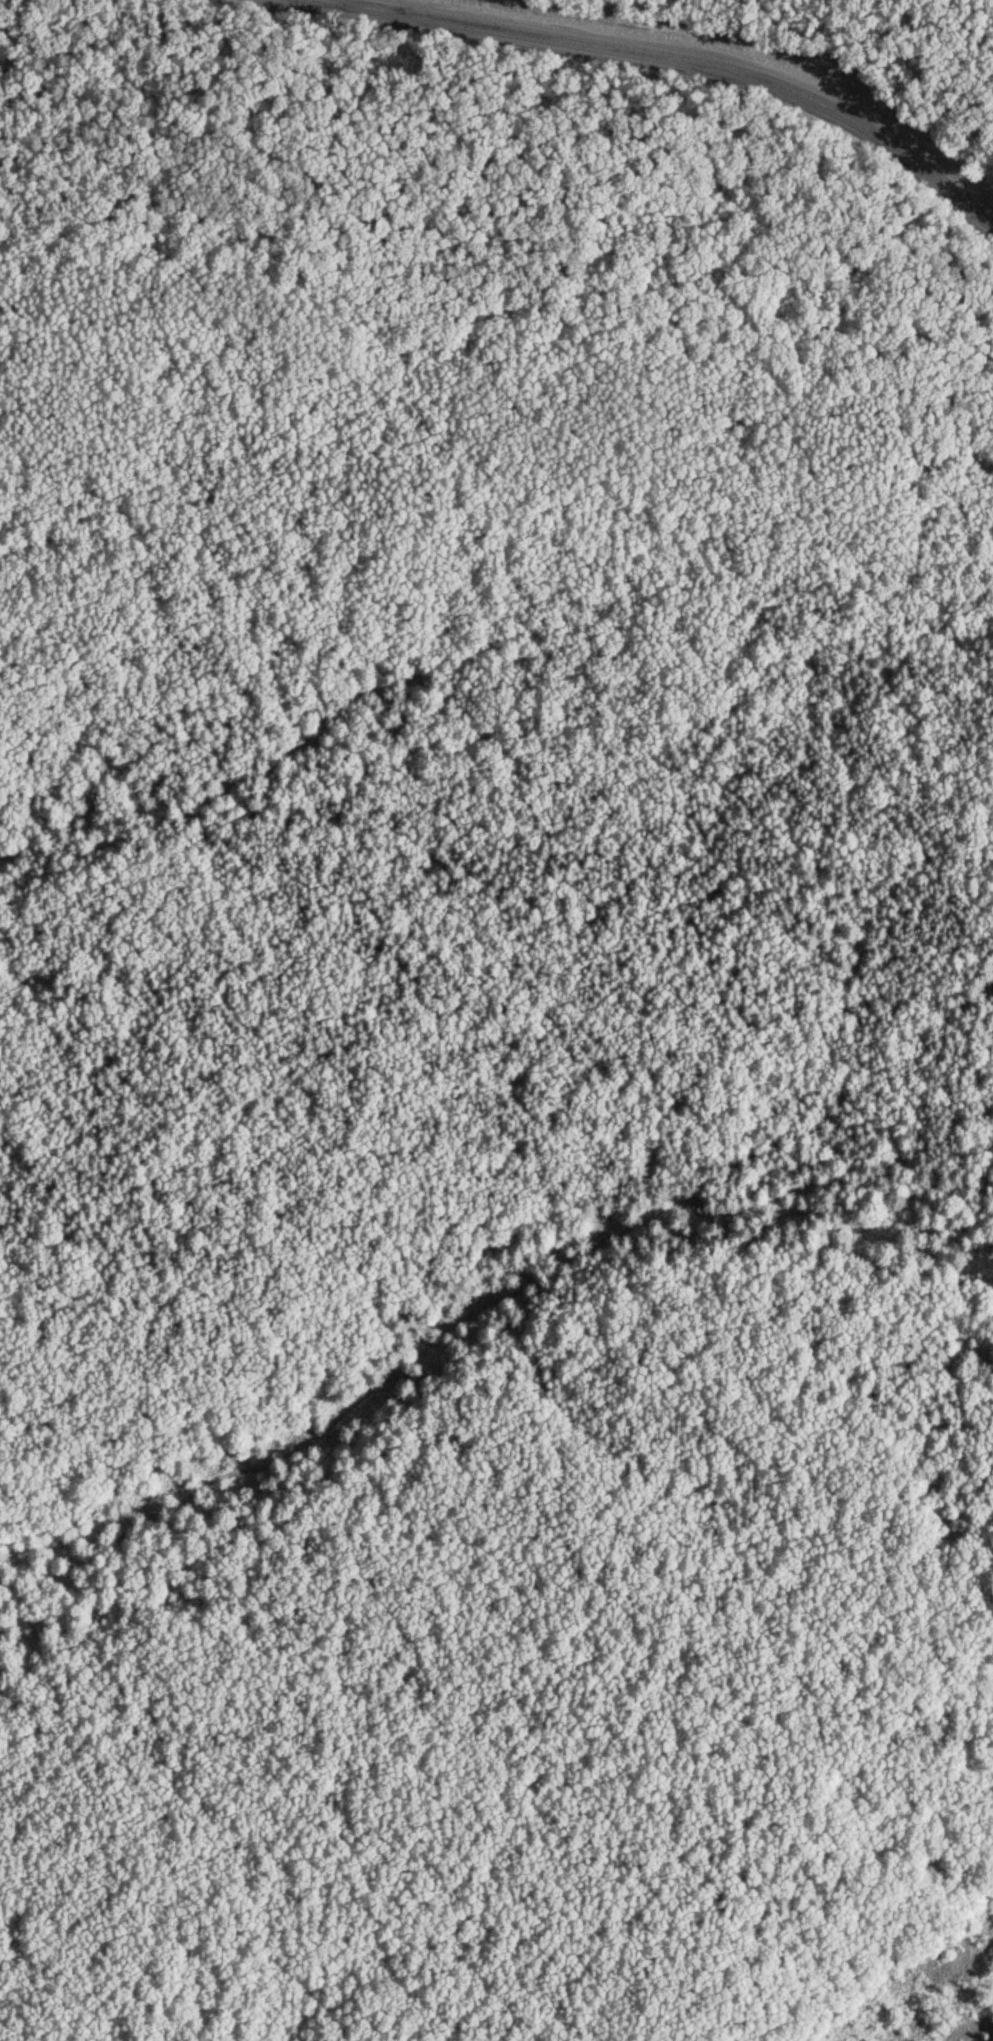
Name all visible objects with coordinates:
road: (690, 60)
road: (395, 1366)
road: (988, 1588)

